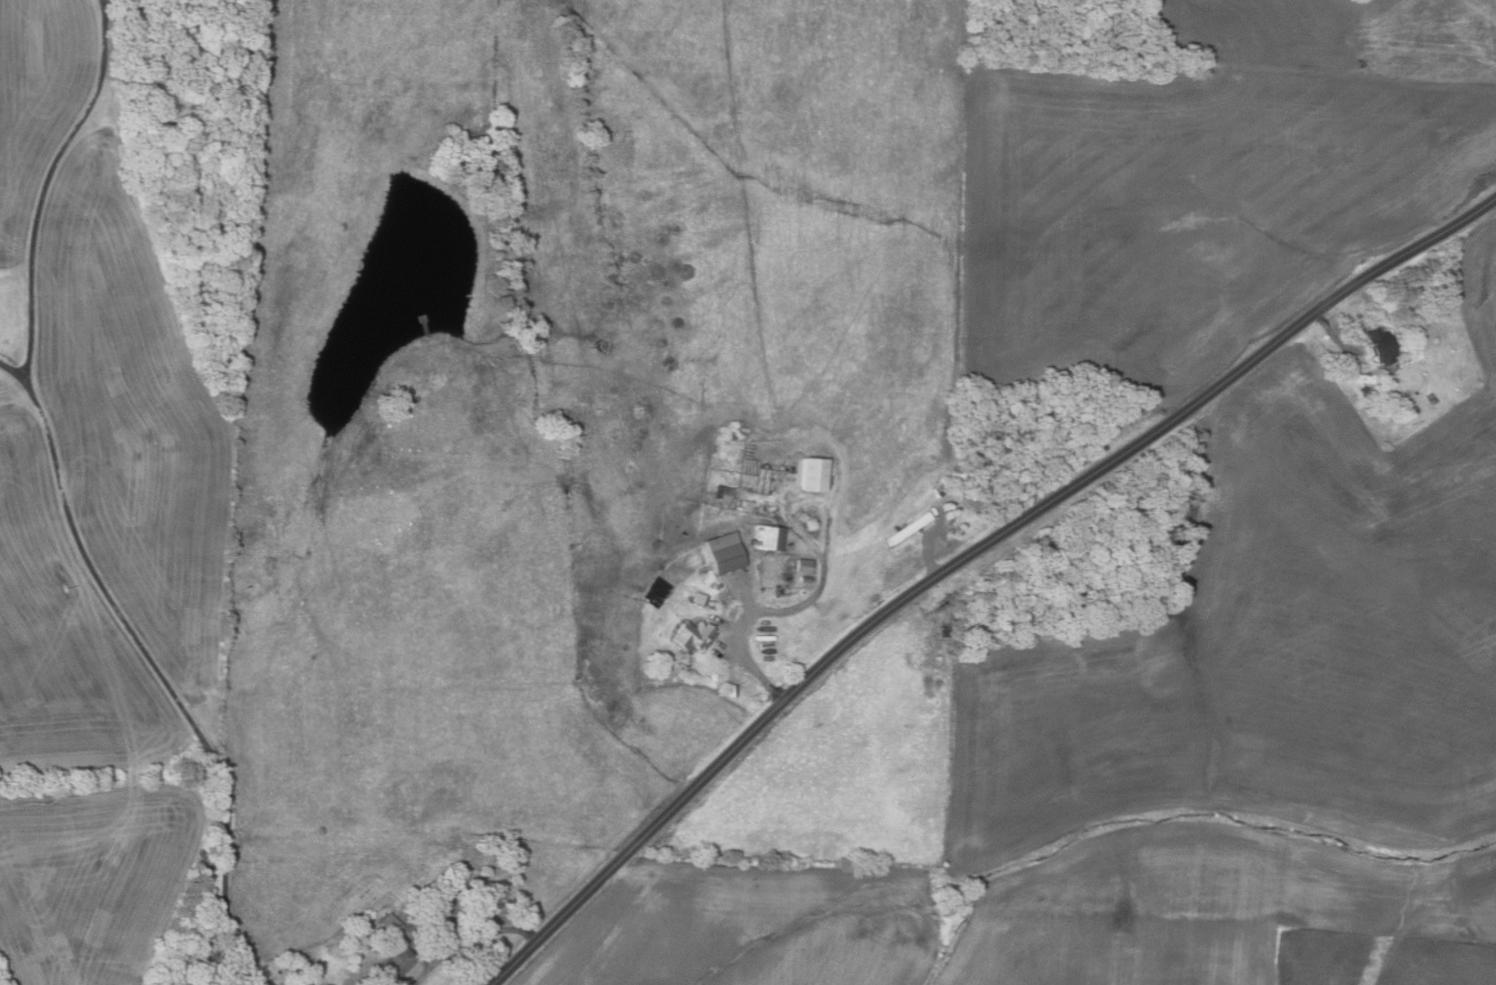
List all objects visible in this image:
crop: (36, 101)
road: (47, 184)
crop: (1206, 185)
road: (1336, 337)
building: (1380, 345)
building: (1419, 354)
road: (14, 371)
building: (1363, 390)
building: (1433, 399)
crop: (135, 422)
building: (813, 473)
building: (938, 490)
building: (723, 493)
building: (741, 502)
building: (909, 527)
building: (684, 532)
building: (768, 537)
building: (724, 552)
road: (929, 552)
road: (966, 557)
building: (802, 565)
building: (804, 578)
building: (716, 587)
building: (700, 598)
building: (692, 635)
crop: (64, 638)
road: (752, 670)
road: (164, 679)
building: (732, 690)
crop: (1178, 745)
crop: (94, 879)
building: (390, 923)
road: (472, 942)
crop: (1380, 960)
building: (396, 961)
building: (299, 979)

